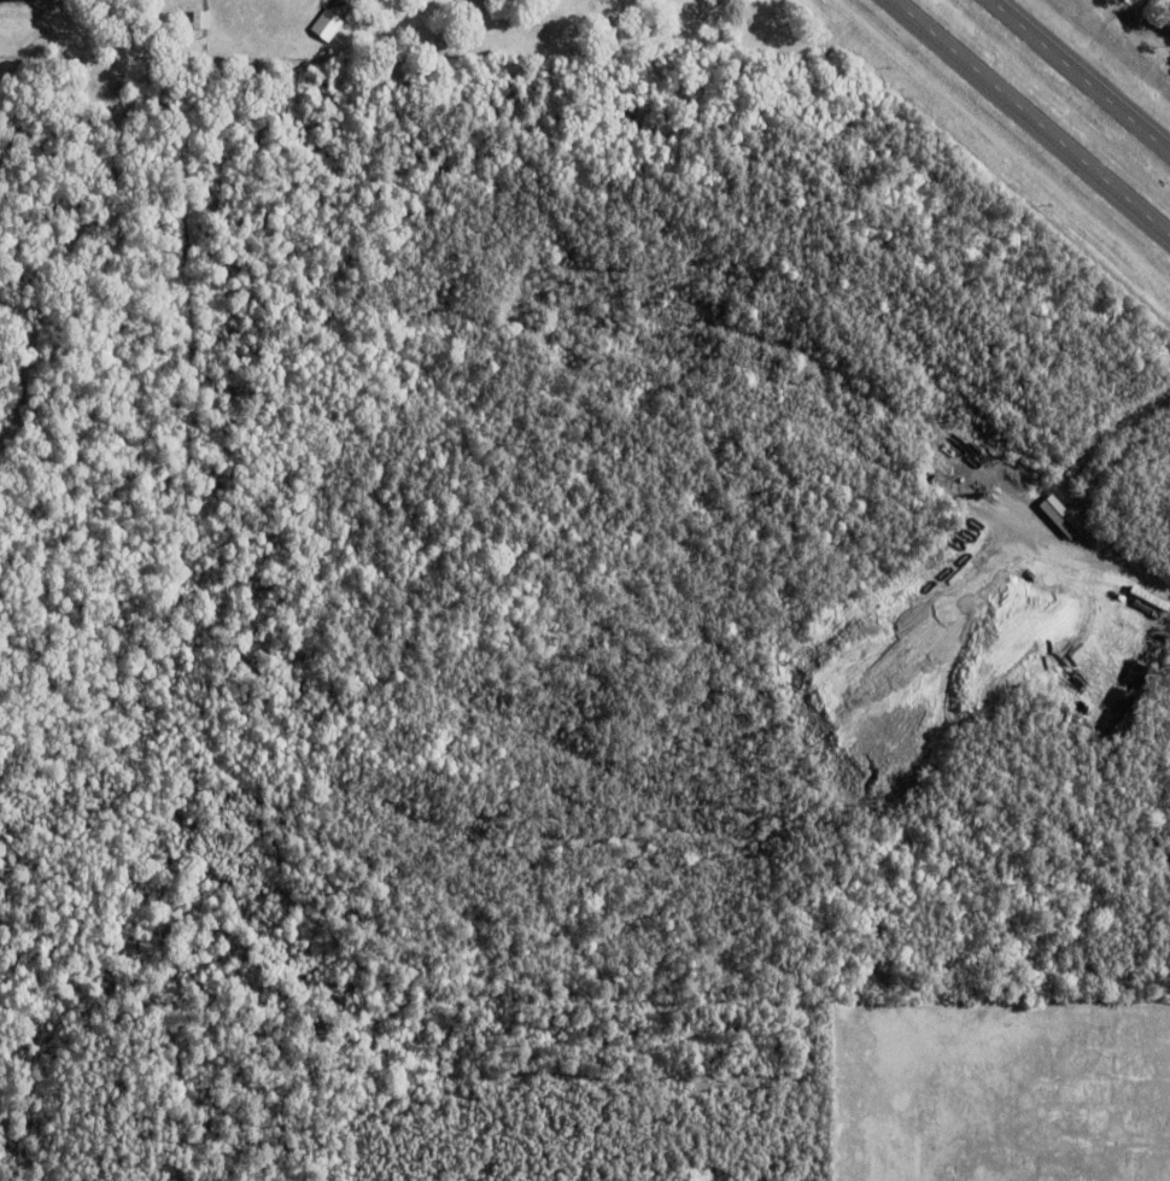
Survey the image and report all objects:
building: (353, 0)
building: (713, 17)
building: (201, 19)
building: (330, 21)
road: (1078, 76)
road: (1030, 118)

